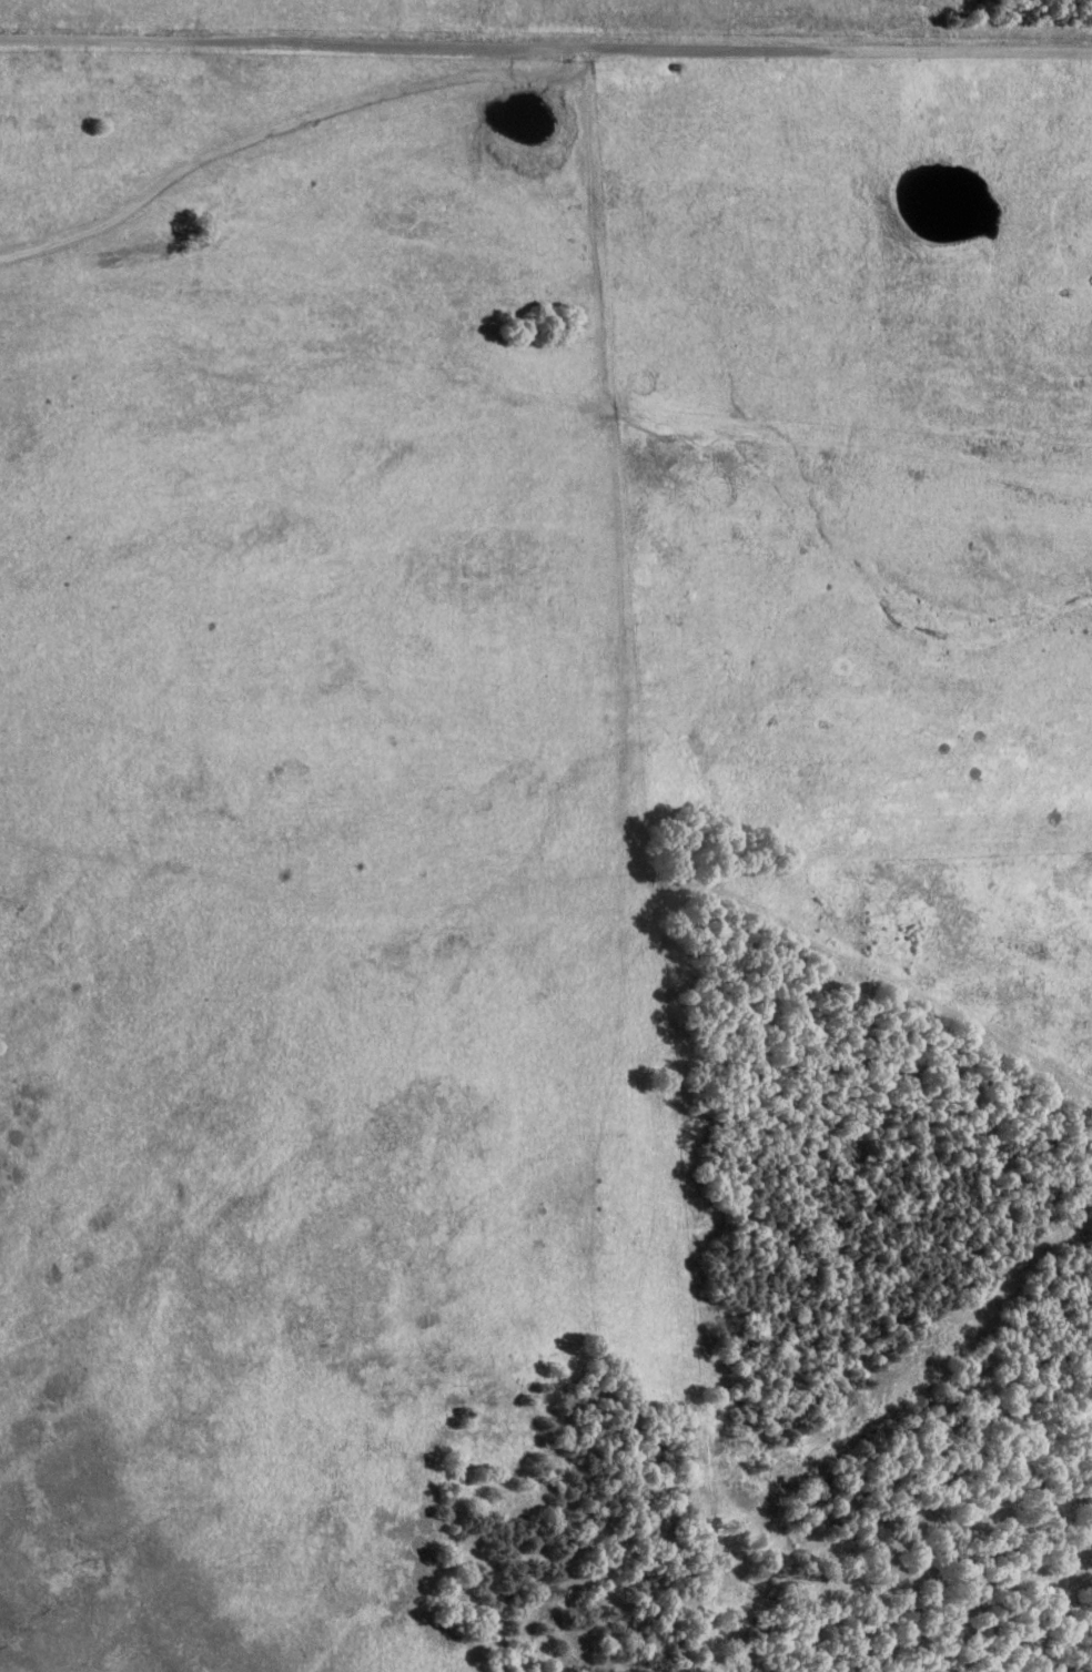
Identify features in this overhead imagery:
road: (545, 51)

